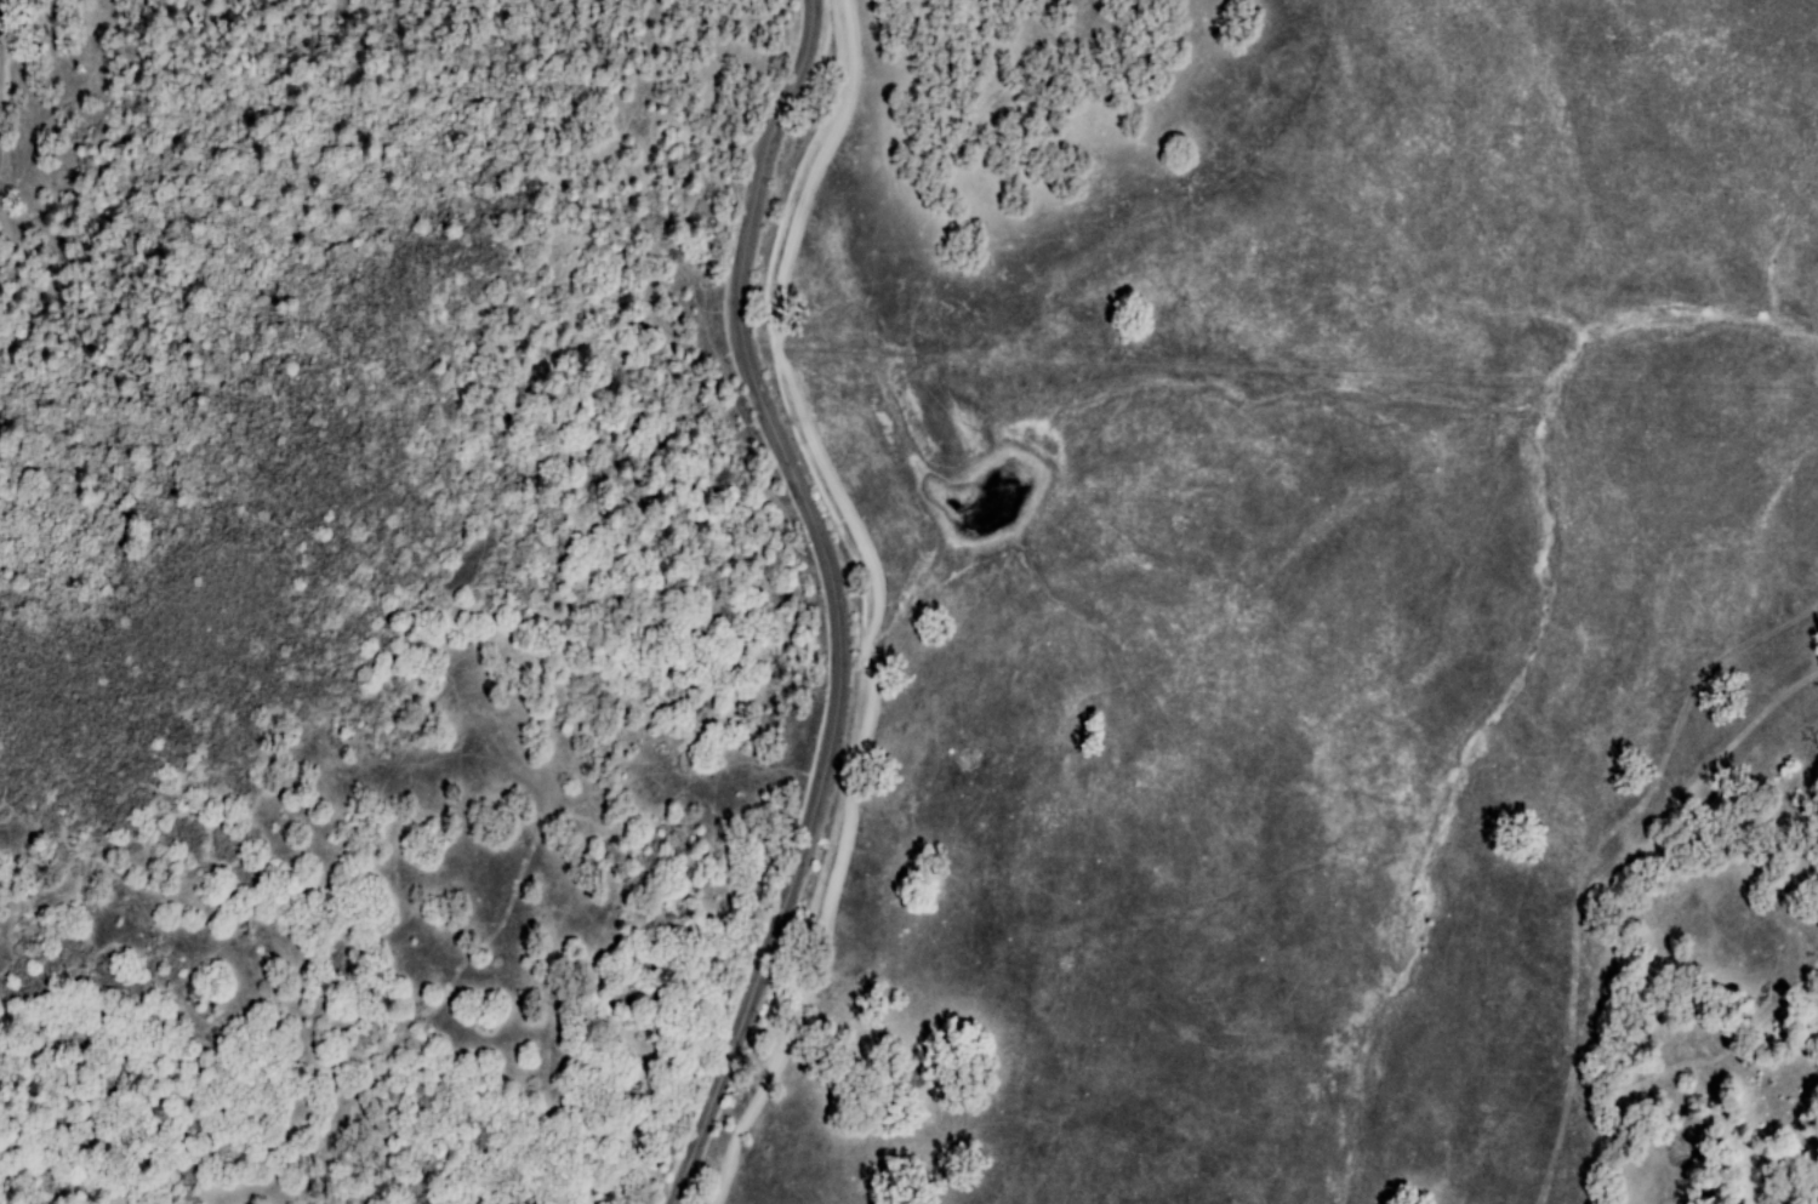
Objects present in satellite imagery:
road: (1, 19)
road: (839, 603)
road: (1632, 912)
road: (1720, 974)
road: (610, 1185)

